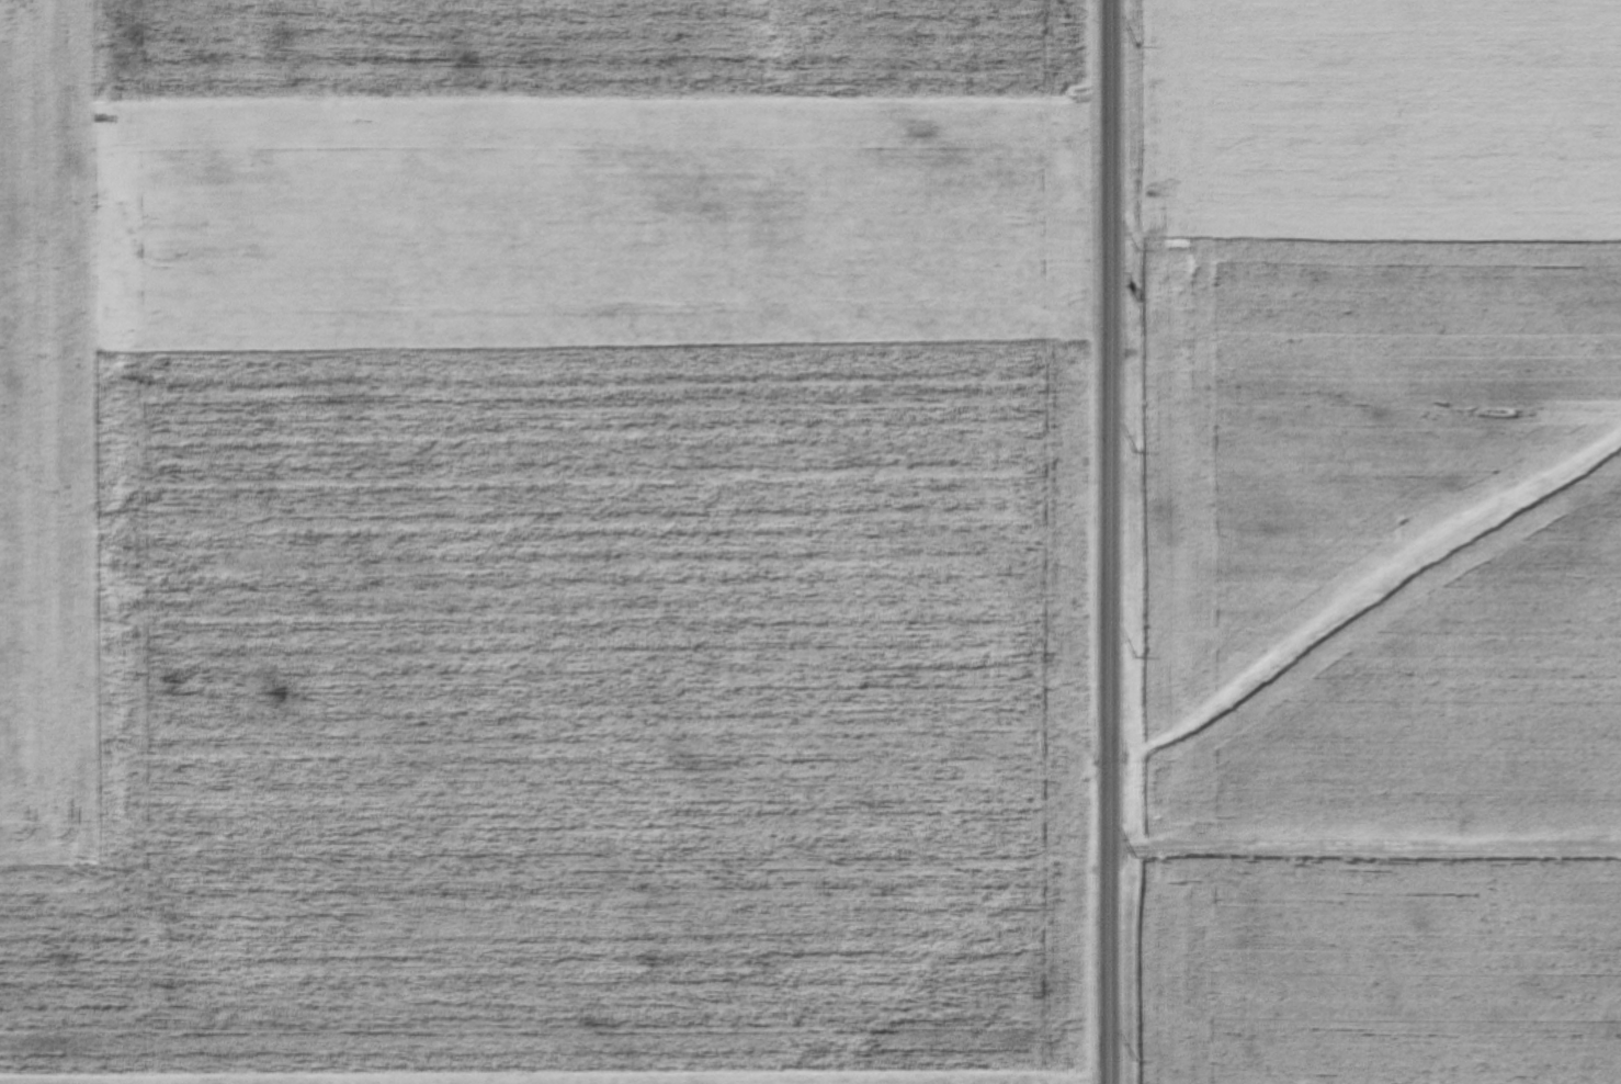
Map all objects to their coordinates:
road: (1104, 542)

